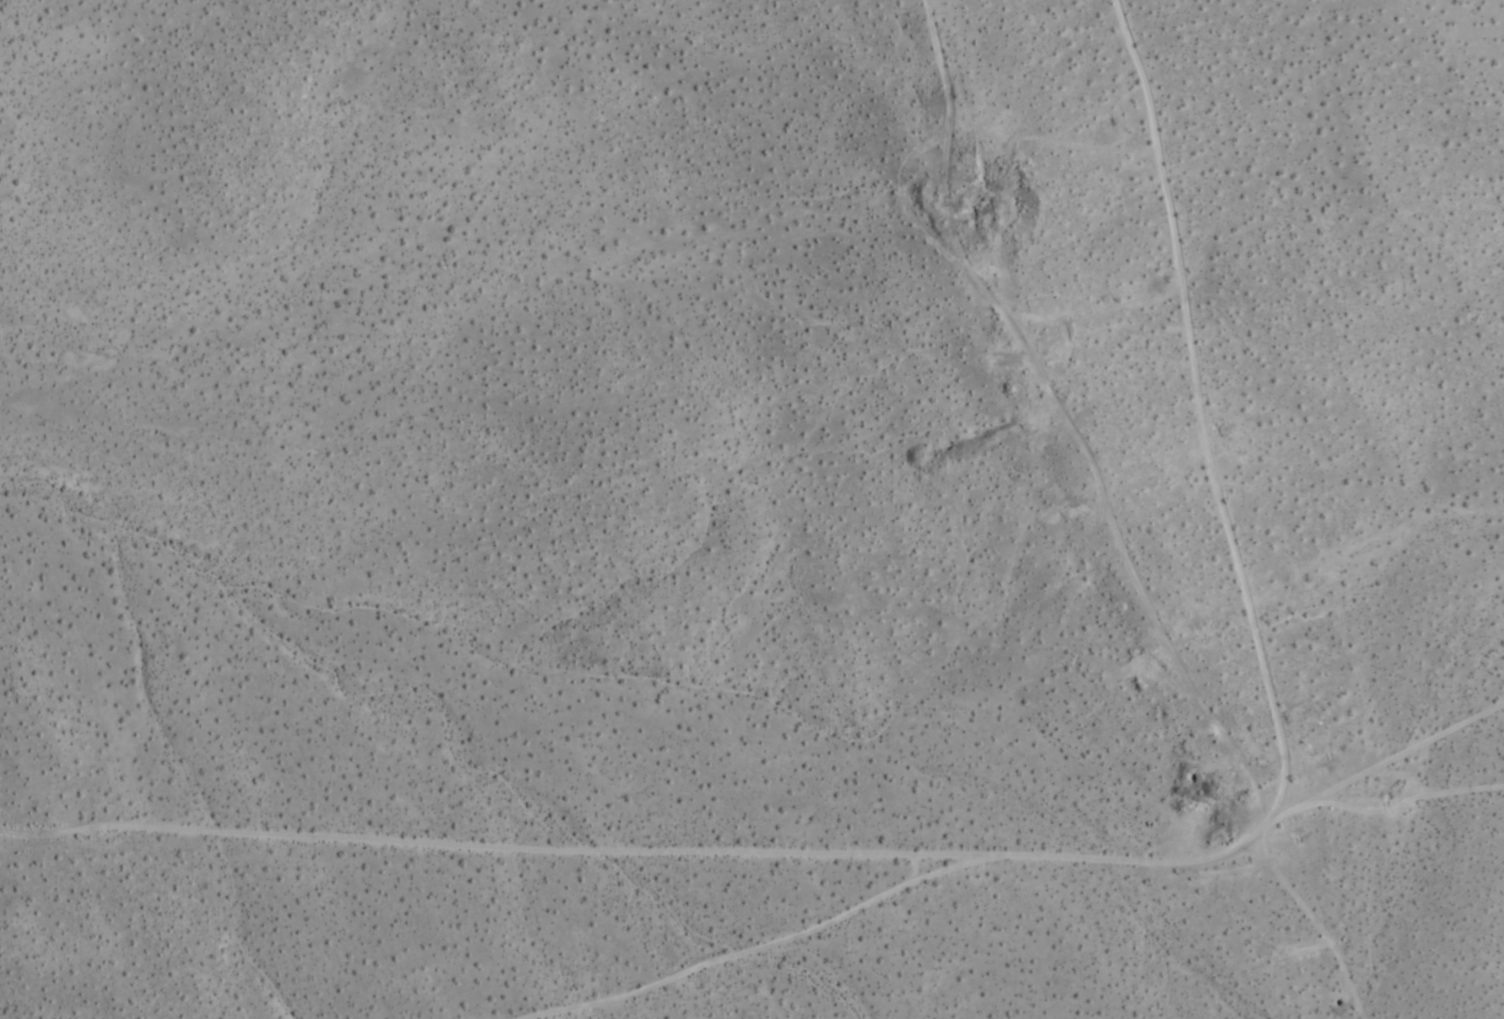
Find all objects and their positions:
road: (488, 841)

